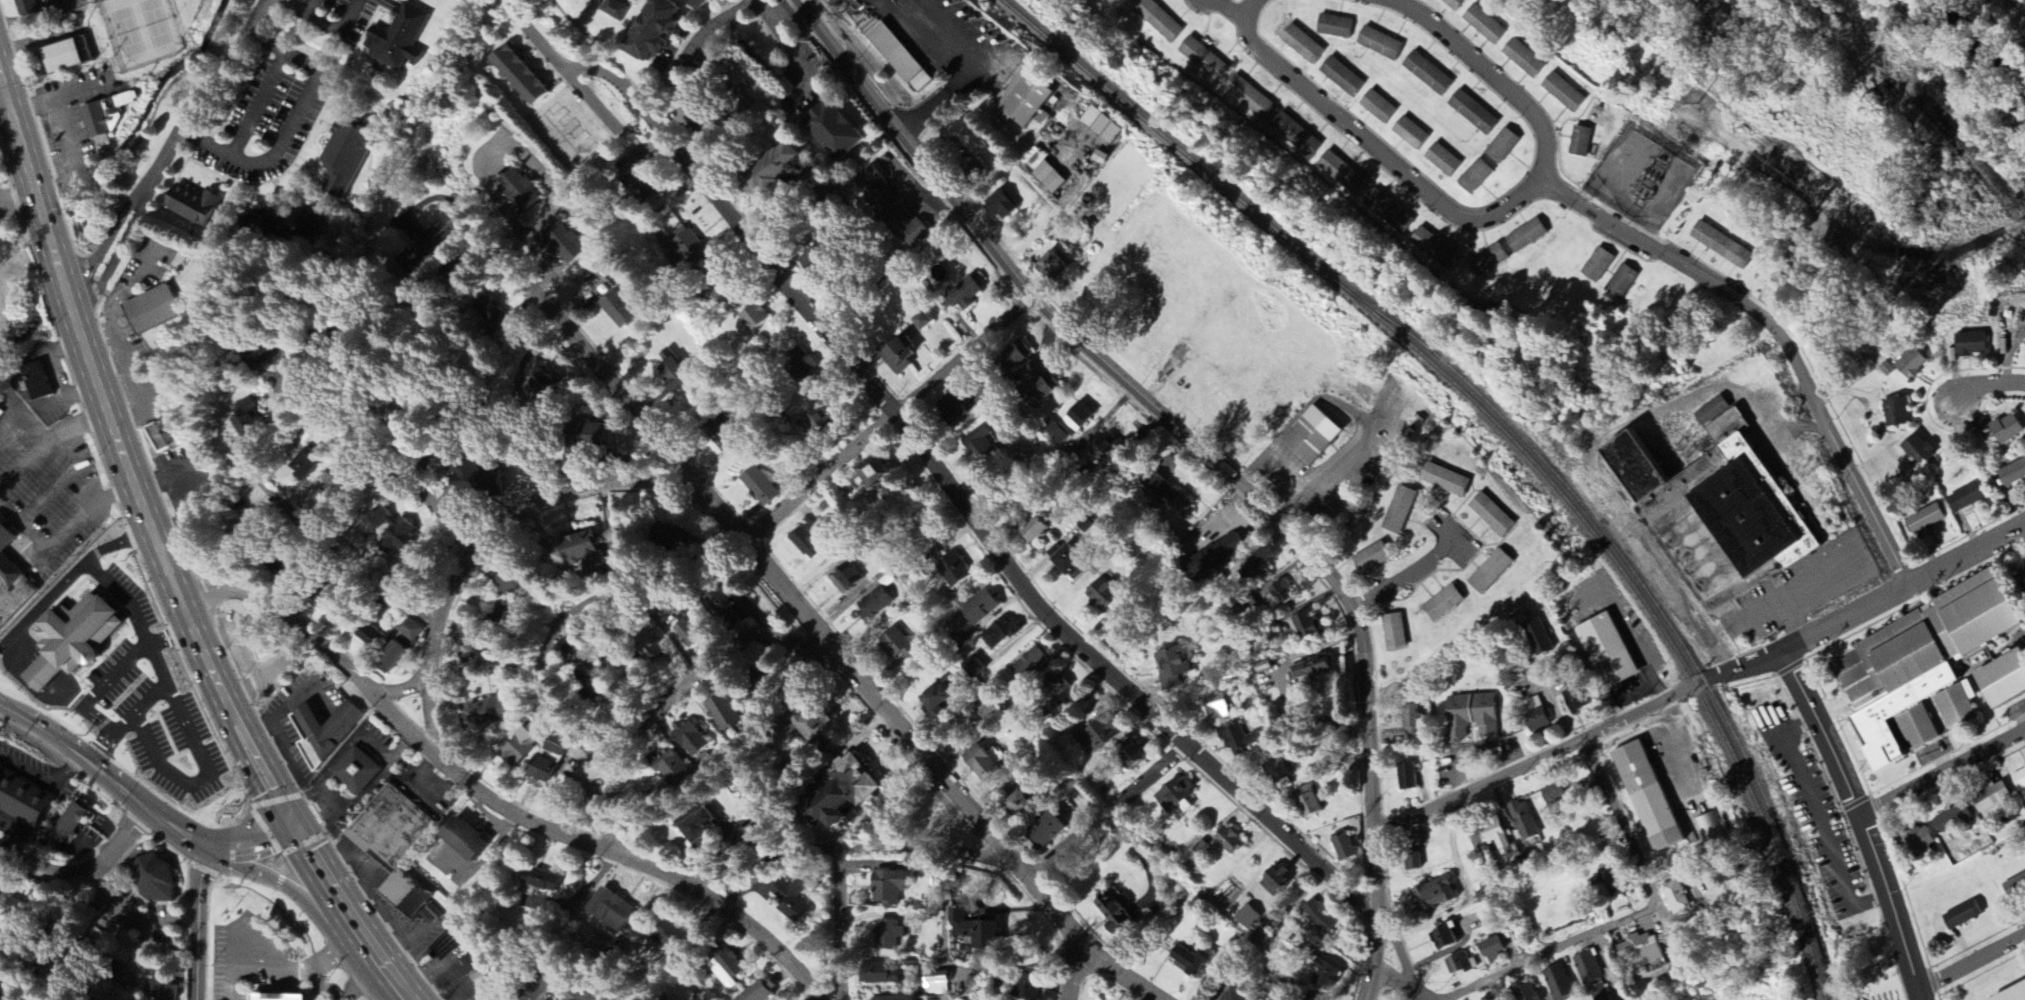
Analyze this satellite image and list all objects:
building: (704, 3)
building: (1454, 4)
building: (36, 7)
road: (1233, 8)
building: (615, 10)
road: (301, 11)
road: (781, 11)
building: (1159, 21)
road: (337, 24)
building: (1484, 25)
building: (1336, 27)
building: (660, 29)
park: (140, 31)
road: (578, 31)
road: (699, 35)
building: (400, 39)
park: (160, 41)
building: (1381, 44)
building: (1304, 45)
road: (791, 53)
building: (68, 58)
building: (900, 58)
building: (1204, 59)
building: (1524, 59)
road: (1962, 67)
road: (966, 71)
building: (1429, 74)
building: (525, 76)
building: (1344, 77)
road: (571, 78)
park: (1882, 88)
building: (1564, 93)
building: (1250, 98)
building: (1025, 100)
road: (258, 101)
building: (1379, 107)
road: (7, 111)
building: (1474, 113)
building: (105, 115)
road: (292, 124)
building: (1106, 125)
building: (836, 131)
building: (1411, 134)
building: (1297, 136)
building: (1582, 141)
building: (1503, 146)
road: (169, 151)
building: (346, 158)
building: (1444, 160)
road: (484, 161)
building: (780, 169)
building: (983, 169)
building: (1343, 174)
power substation: (1642, 175)
building: (1476, 177)
building: (1048, 178)
building: (643, 185)
building: (523, 191)
building: (194, 206)
building: (1003, 207)
building: (892, 209)
building: (1389, 212)
road: (1475, 220)
road: (967, 221)
building: (281, 224)
building: (1528, 236)
building: (565, 244)
building: (1724, 246)
building: (426, 247)
building: (693, 248)
building: (1436, 249)
building: (1489, 261)
building: (1598, 265)
building: (1055, 268)
building: (1622, 282)
building: (968, 294)
building: (620, 310)
building: (153, 311)
building: (758, 317)
building: (927, 321)
road: (1780, 335)
building: (1967, 344)
building: (1022, 355)
building: (904, 356)
building: (276, 359)
building: (804, 364)
building: (1908, 364)
building: (1886, 370)
building: (674, 372)
road: (455, 377)
road: (1988, 383)
building: (40, 384)
building: (549, 386)
building: (1047, 389)
road: (923, 392)
building: (405, 407)
building: (956, 409)
building: (1709, 411)
building: (1893, 412)
building: (252, 419)
building: (817, 423)
building: (1071, 424)
building: (2004, 429)
railway: (1503, 431)
building: (163, 435)
building: (1316, 436)
building: (600, 437)
building: (985, 447)
building: (1107, 450)
road: (1594, 450)
building: (1915, 450)
road: (375, 462)
building: (312, 464)
road: (1281, 469)
road: (1248, 470)
building: (2011, 473)
building: (879, 474)
building: (479, 479)
building: (1448, 480)
building: (336, 486)
building: (761, 487)
building: (1171, 497)
building: (1964, 498)
road: (954, 500)
road: (1282, 500)
building: (1715, 501)
building: (1400, 511)
building: (1495, 516)
building: (1923, 519)
road: (771, 521)
building: (1042, 530)
building: (245, 531)
building: (671, 536)
building: (401, 538)
building: (813, 541)
road: (483, 546)
road: (161, 549)
building: (1217, 555)
building: (1374, 558)
building: (1072, 562)
building: (957, 571)
building: (1255, 572)
building: (1493, 572)
road: (1406, 573)
building: (849, 579)
building: (2021, 579)
building: (12, 580)
building: (510, 582)
building: (1104, 593)
building: (1285, 594)
railway: (1648, 597)
building: (876, 603)
building: (1446, 604)
road: (1763, 604)
building: (984, 608)
building: (729, 610)
road: (1862, 610)
building: (495, 612)
road: (801, 616)
road: (566, 620)
building: (1310, 626)
road: (142, 627)
building: (411, 629)
building: (695, 633)
building: (1003, 633)
building: (1396, 633)
building: (84, 634)
road: (170, 636)
building: (373, 637)
building: (1535, 637)
building: (263, 644)
building: (899, 645)
building: (658, 646)
building: (1604, 651)
building: (400, 654)
building: (1022, 655)
building: (1915, 660)
road: (158, 664)
building: (1030, 665)
building: (1176, 667)
building: (976, 668)
building: (1315, 670)
road: (1367, 672)
building: (46, 675)
building: (2001, 679)
building: (1060, 685)
building: (940, 700)
building: (1574, 701)
road: (20, 704)
building: (1955, 706)
building: (1215, 709)
road: (660, 710)
building: (486, 713)
building: (727, 714)
building: (1534, 716)
building: (1470, 717)
building: (1414, 723)
building: (819, 727)
building: (1915, 727)
building: (326, 733)
building: (1104, 737)
building: (694, 739)
building: (1241, 740)
road: (227, 749)
building: (519, 749)
road: (107, 750)
road: (198, 750)
building: (1136, 755)
road: (1536, 762)
road: (1166, 764)
building: (984, 765)
building: (673, 766)
building: (358, 772)
building: (544, 772)
building: (1278, 772)
road: (1942, 772)
building: (1405, 777)
building: (2018, 779)
road: (44, 780)
building: (851, 793)
road: (1133, 793)
building: (1645, 796)
building: (1988, 796)
building: (1178, 797)
road: (140, 798)
road: (486, 798)
building: (24, 801)
building: (1308, 803)
building: (1026, 806)
building: (1950, 819)
traffic signals: (292, 820)
building: (1522, 821)
road: (1862, 822)
building: (71, 823)
building: (703, 827)
building: (1708, 827)
building: (393, 830)
building: (1053, 830)
road: (16, 834)
building: (1492, 834)
building: (471, 841)
building: (1232, 842)
building: (1916, 842)
building: (1341, 847)
road: (929, 848)
road: (1069, 848)
road: (139, 854)
road: (759, 866)
road: (87, 867)
building: (157, 880)
building: (1272, 880)
road: (1495, 880)
building: (544, 881)
building: (893, 887)
building: (2014, 887)
building: (409, 895)
building: (1430, 895)
building: (1674, 897)
building: (792, 899)
road: (316, 907)
building: (615, 910)
building: (1116, 913)
road: (1633, 916)
building: (1959, 916)
building: (1318, 917)
building: (1244, 918)
road: (198, 919)
road: (841, 924)
building: (890, 935)
building: (673, 936)
building: (993, 936)
building: (1441, 937)
building: (1488, 948)
building: (1638, 950)
road: (330, 953)
building: (1189, 961)
building: (474, 963)
building: (1456, 964)
road: (1972, 964)
road: (258, 968)
building: (731, 968)
road: (1074, 969)
road: (38, 974)
building: (1321, 974)
building: (886, 976)
building: (1591, 976)
building: (483, 978)
road: (1408, 981)
park: (1992, 982)
building: (1557, 983)
road: (316, 984)
building: (942, 984)
road: (614, 987)
building: (1030, 989)
building: (160, 991)
building: (764, 992)
building: (1523, 992)
building: (2010, 993)
building: (1227, 996)
building: (285, 998)
building: (1487, 998)
building: (904, 999)
building: (1310, 999)

